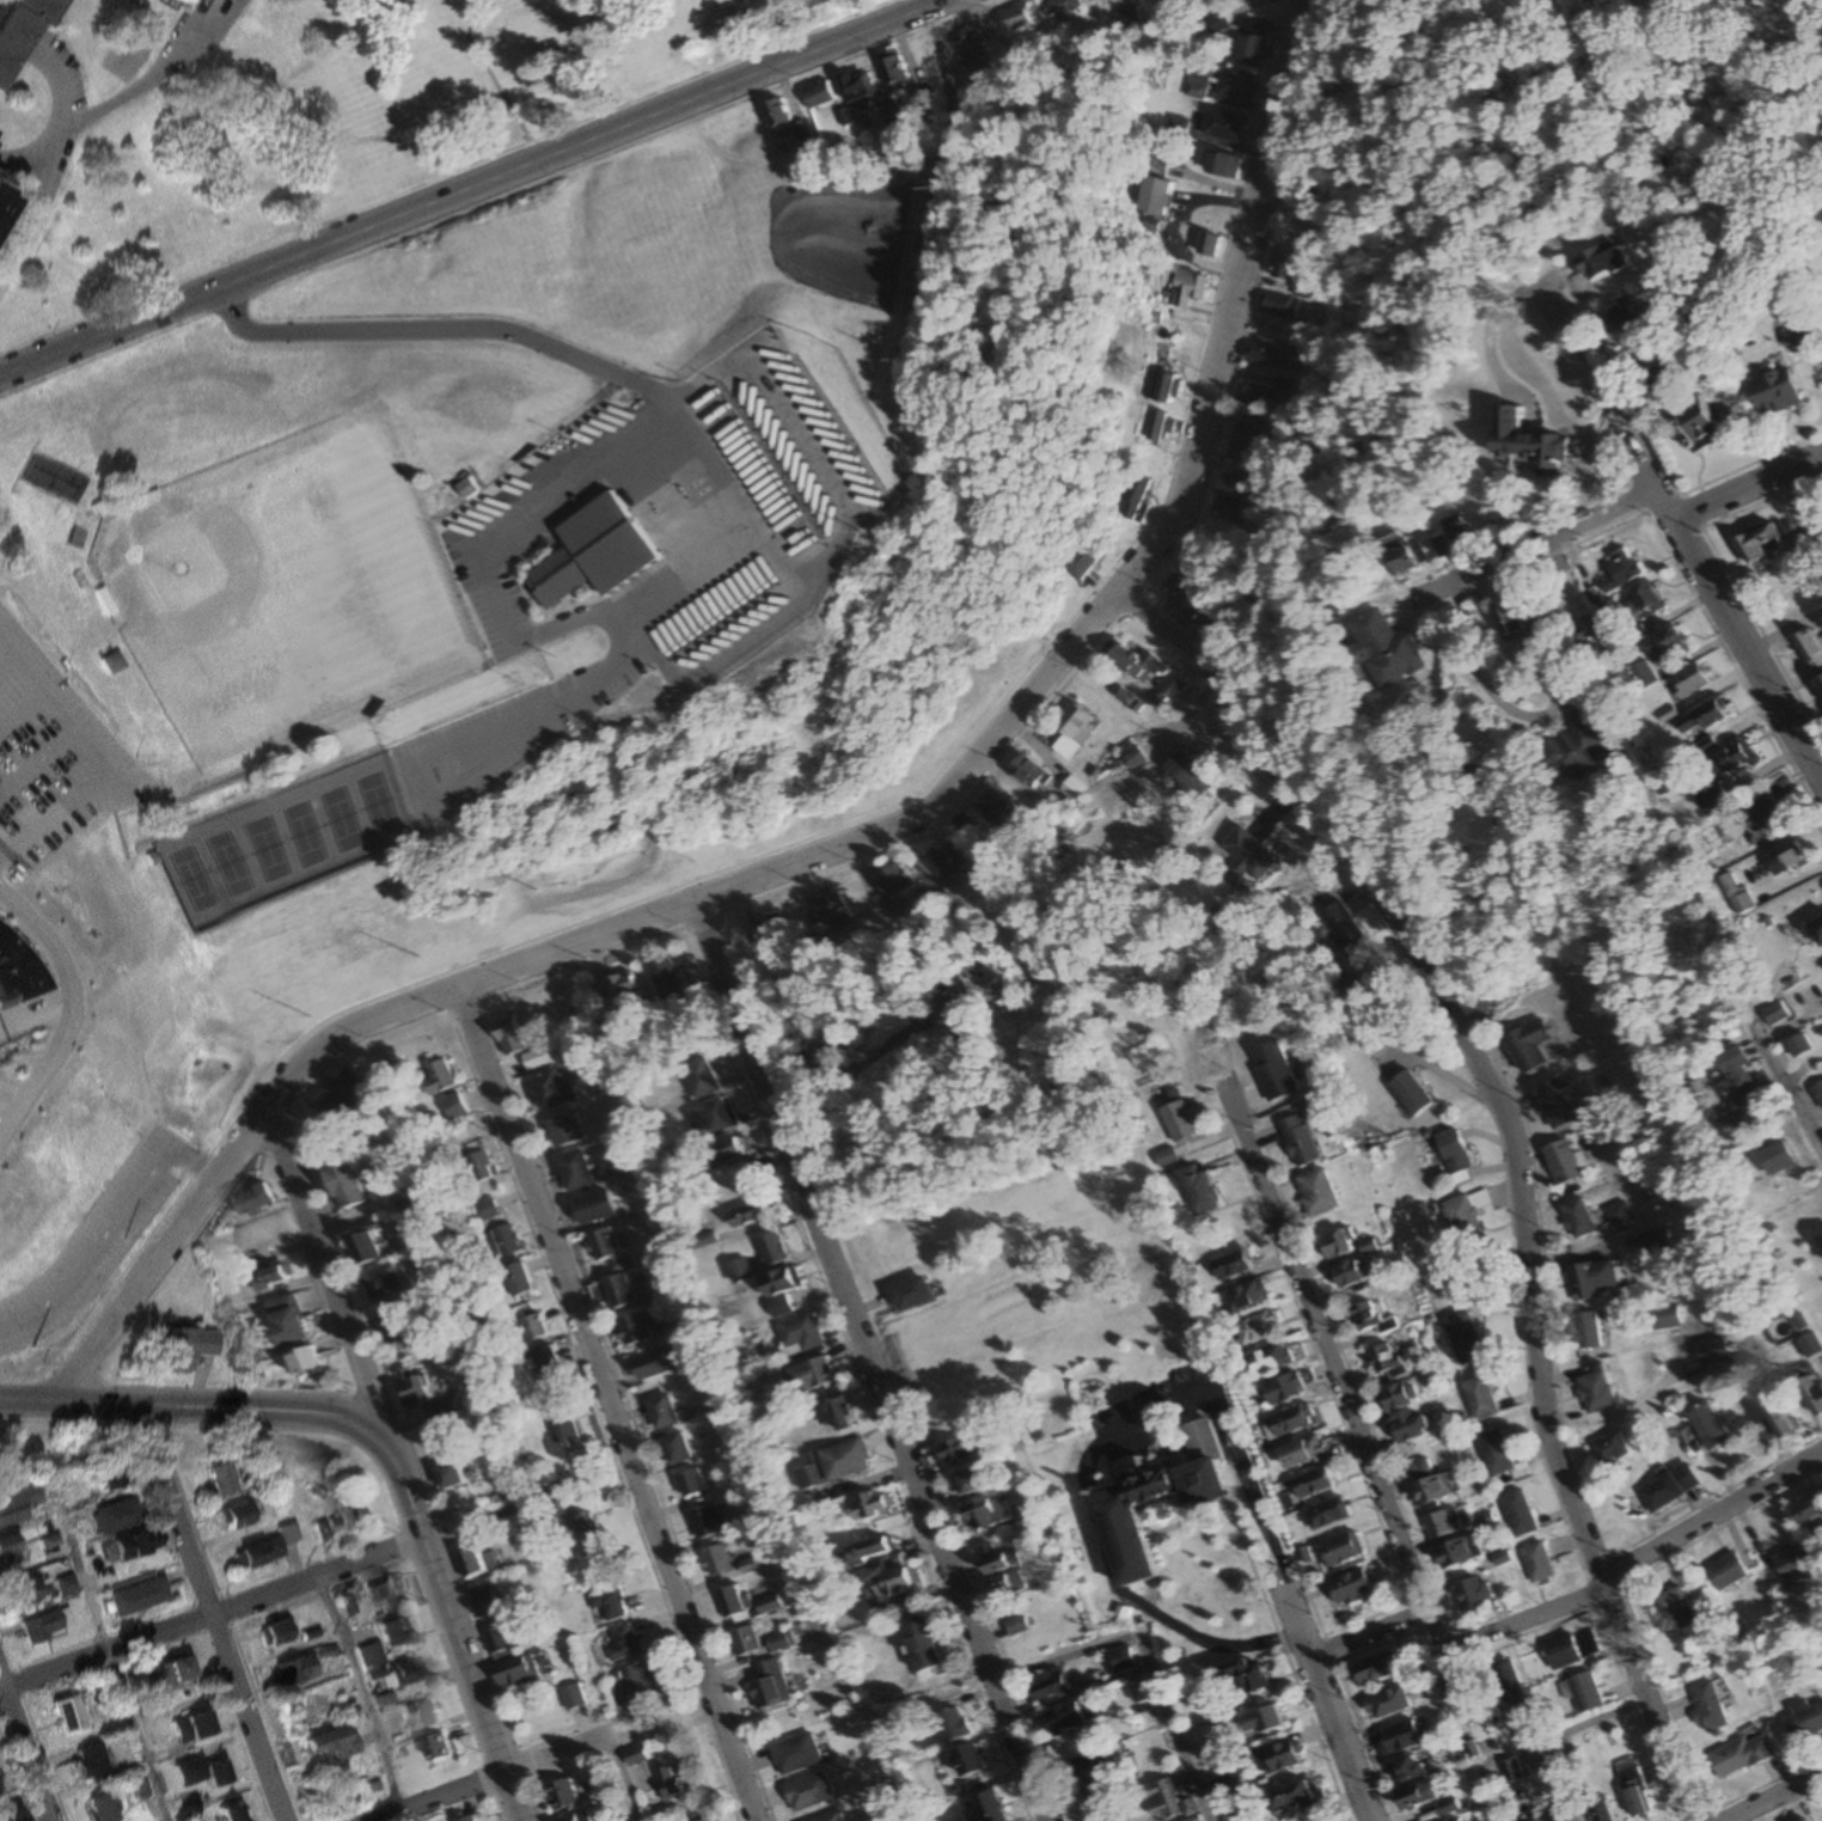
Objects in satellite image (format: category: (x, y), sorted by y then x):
building: (173, 1)
building: (13, 17)
road: (158, 73)
road: (487, 73)
road: (54, 145)
road: (24, 161)
road: (471, 187)
road: (499, 198)
road: (367, 206)
road: (829, 468)
road: (1747, 488)
road: (739, 517)
road: (1682, 540)
road: (1536, 543)
park: (263, 589)
road: (13, 656)
road: (1476, 672)
road: (27, 705)
road: (552, 714)
road: (106, 745)
road: (42, 753)
parking lot: (51, 758)
park: (375, 805)
park: (342, 819)
park: (302, 836)
road: (848, 847)
park: (265, 849)
park: (230, 864)
park: (192, 879)
building: (17, 967)
road: (51, 996)
road: (62, 1009)
road: (31, 1014)
road: (313, 1026)
road: (1786, 1082)
road: (1517, 1151)
road: (109, 1222)
parking lot: (84, 1254)
road: (334, 1278)
road: (875, 1363)
road: (1333, 1368)
road: (201, 1405)
road: (609, 1405)
road: (1258, 1516)
road: (1712, 1516)
road: (257, 1594)
road: (214, 1612)
road: (1523, 1620)
road: (1366, 1633)
road: (457, 1634)
road: (1152, 1658)
road: (117, 1675)
road: (360, 1697)
road: (1340, 1738)
road: (594, 1741)
road: (1537, 1742)
road: (23, 1753)
road: (440, 1797)
road: (1774, 1797)

